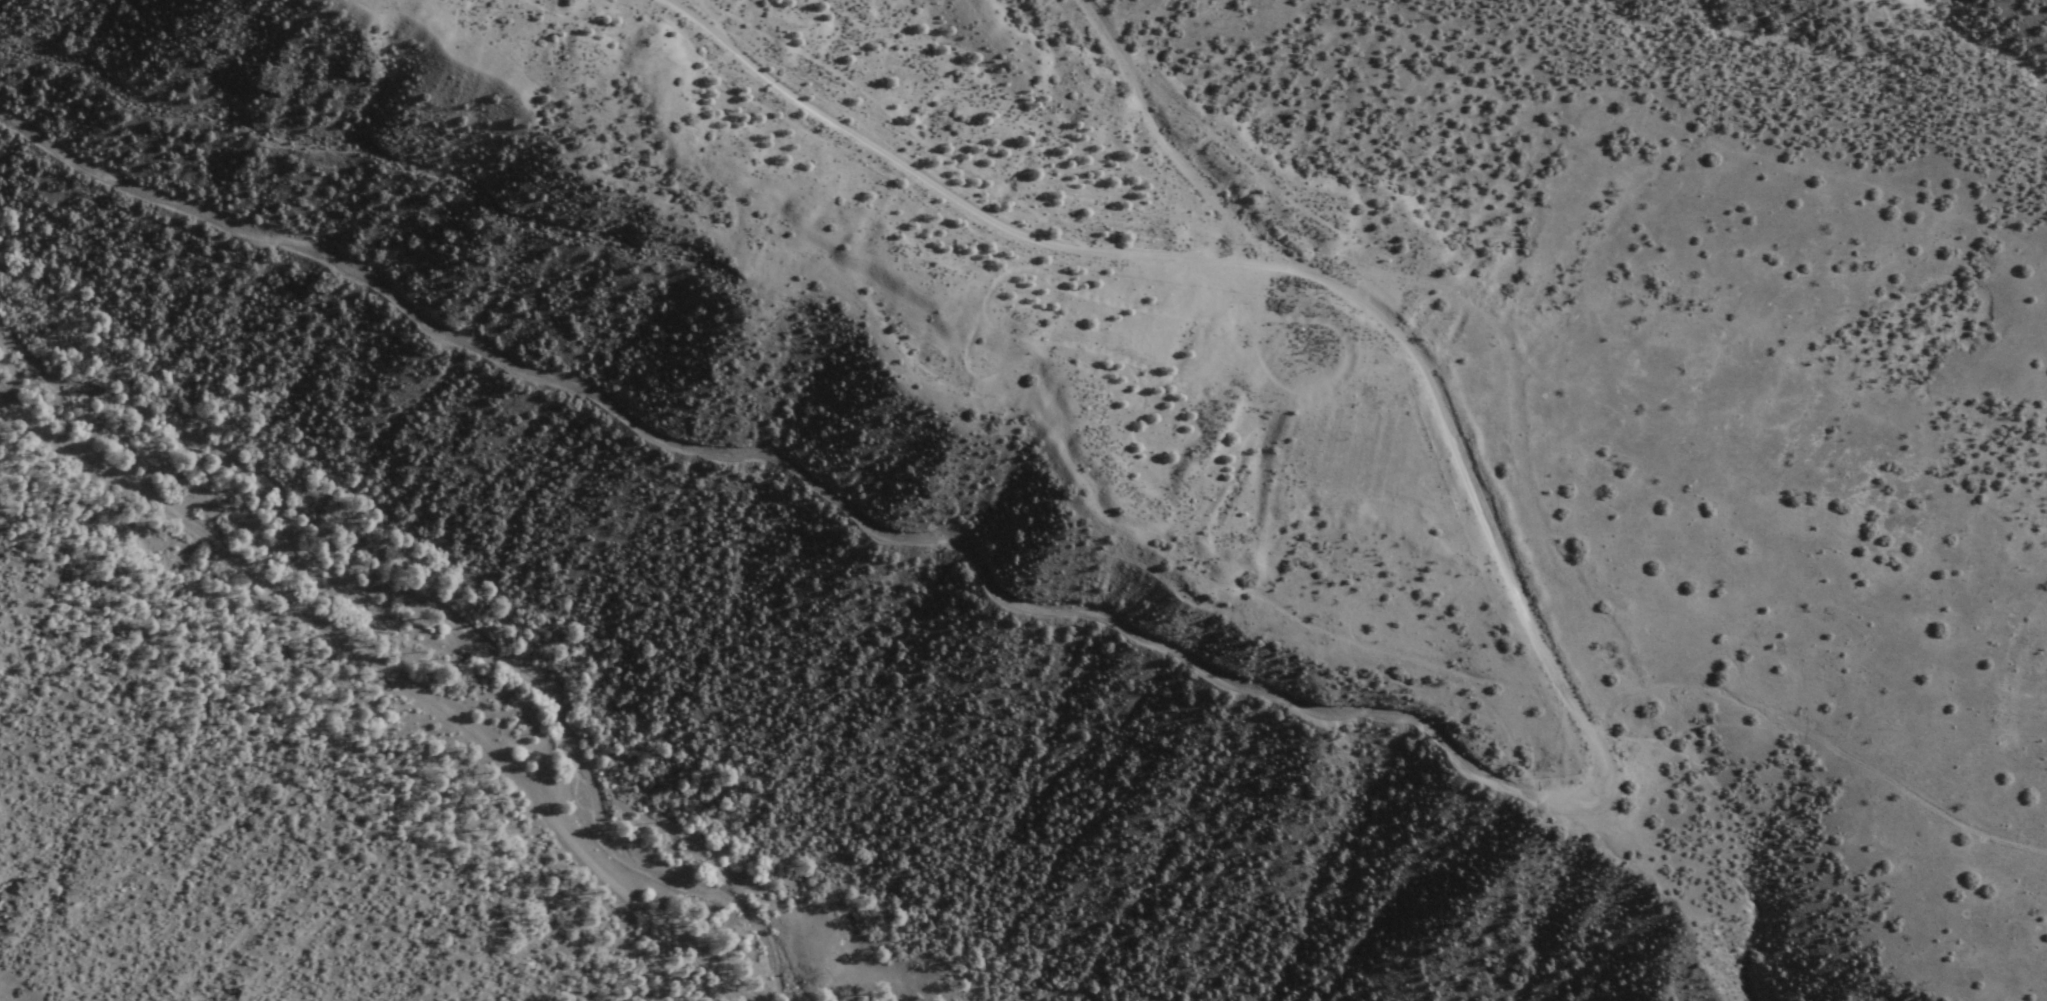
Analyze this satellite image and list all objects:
road: (1176, 156)
road: (398, 675)
road: (1395, 720)

